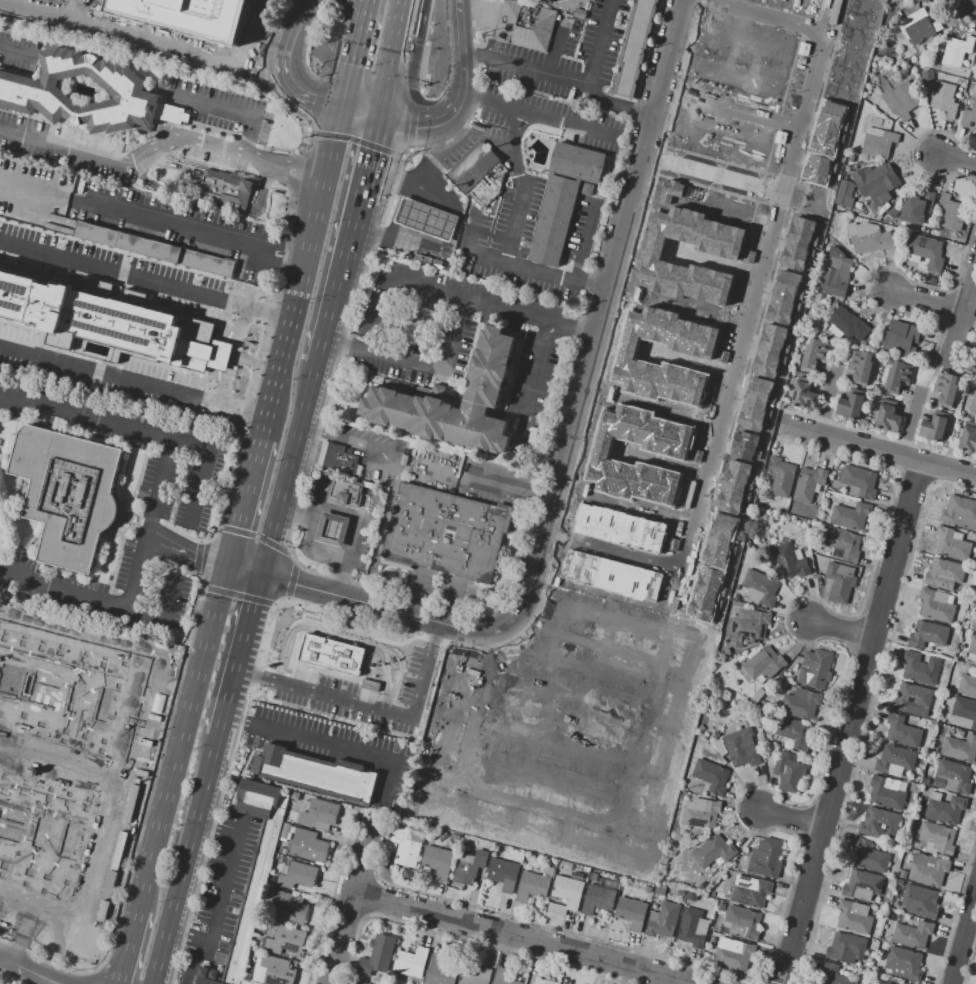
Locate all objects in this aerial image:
building: (923, 1)
building: (185, 15)
road: (410, 18)
road: (300, 20)
building: (856, 22)
building: (525, 27)
building: (920, 27)
road: (121, 35)
parking lot: (603, 39)
road: (415, 40)
road: (597, 43)
road: (462, 45)
building: (634, 48)
parking lot: (11, 49)
road: (391, 49)
road: (8, 51)
building: (958, 52)
road: (351, 55)
road: (554, 55)
road: (413, 56)
road: (821, 58)
building: (975, 61)
road: (422, 66)
building: (842, 74)
building: (927, 76)
road: (562, 80)
building: (30, 89)
road: (294, 89)
road: (276, 99)
building: (944, 99)
building: (901, 100)
road: (490, 102)
road: (211, 105)
road: (379, 109)
traffic signals: (340, 110)
building: (969, 113)
road: (358, 115)
road: (414, 119)
traffic signals: (377, 120)
road: (568, 123)
road: (428, 126)
building: (829, 127)
road: (213, 128)
road: (478, 133)
parking lot: (162, 137)
road: (246, 139)
road: (354, 142)
building: (878, 142)
road: (511, 148)
road: (222, 149)
traffic signals: (370, 151)
road: (368, 156)
road: (139, 157)
road: (425, 159)
road: (955, 160)
road: (299, 163)
road: (295, 168)
building: (818, 168)
road: (239, 172)
building: (479, 174)
road: (264, 183)
road: (295, 184)
building: (867, 185)
road: (281, 187)
road: (761, 188)
building: (225, 189)
building: (670, 189)
building: (561, 200)
road: (212, 202)
building: (917, 207)
road: (396, 208)
building: (883, 209)
building: (951, 212)
building: (893, 213)
building: (426, 218)
gas station: (426, 218)
road: (513, 225)
road: (196, 229)
road: (349, 235)
building: (868, 236)
building: (799, 241)
road: (578, 243)
building: (153, 248)
road: (471, 250)
building: (925, 253)
building: (738, 255)
building: (429, 259)
road: (304, 264)
building: (836, 273)
building: (198, 279)
road: (390, 279)
road: (554, 279)
road: (145, 283)
building: (785, 296)
road: (928, 301)
road: (963, 317)
road: (327, 321)
building: (112, 323)
building: (848, 324)
road: (456, 333)
building: (899, 338)
road: (340, 347)
building: (771, 348)
building: (814, 353)
building: (712, 355)
road: (259, 358)
road: (740, 367)
building: (861, 367)
building: (897, 376)
road: (132, 380)
road: (535, 383)
building: (946, 388)
building: (484, 391)
building: (803, 395)
road: (577, 401)
road: (828, 401)
building: (756, 403)
building: (973, 404)
building: (850, 406)
building: (888, 417)
road: (911, 422)
building: (933, 428)
road: (143, 429)
road: (296, 434)
building: (968, 438)
building: (744, 445)
road: (878, 450)
building: (686, 454)
building: (335, 458)
building: (780, 477)
road: (396, 478)
building: (859, 482)
road: (511, 484)
building: (809, 484)
road: (345, 485)
road: (708, 486)
building: (734, 486)
road: (317, 490)
building: (344, 490)
building: (66, 492)
road: (246, 493)
road: (363, 503)
building: (958, 509)
road: (295, 510)
road: (313, 510)
road: (336, 510)
building: (850, 516)
road: (149, 518)
road: (148, 522)
building: (619, 527)
building: (782, 529)
building: (332, 530)
gas station: (332, 530)
building: (757, 530)
building: (445, 533)
road: (254, 535)
road: (190, 536)
road: (351, 537)
building: (720, 540)
road: (269, 541)
building: (672, 544)
building: (843, 544)
building: (951, 544)
road: (308, 549)
road: (184, 553)
road: (197, 557)
road: (691, 560)
building: (790, 560)
traffic signals: (227, 569)
road: (306, 569)
road: (243, 573)
building: (944, 573)
building: (610, 575)
traffic signals: (260, 577)
road: (341, 577)
building: (835, 578)
road: (290, 580)
road: (298, 585)
building: (760, 588)
building: (705, 594)
road: (237, 595)
road: (101, 602)
building: (935, 605)
road: (247, 621)
building: (750, 624)
road: (841, 626)
building: (975, 627)
building: (927, 634)
road: (343, 636)
building: (972, 649)
building: (329, 654)
building: (763, 664)
building: (815, 668)
building: (919, 668)
road: (235, 670)
road: (256, 671)
road: (383, 675)
building: (967, 685)
building: (912, 699)
building: (801, 703)
road: (225, 705)
road: (388, 706)
road: (374, 709)
building: (964, 714)
building: (579, 721)
road: (237, 722)
road: (851, 722)
building: (793, 732)
building: (902, 732)
road: (182, 738)
road: (316, 742)
building: (0, 744)
building: (741, 748)
building: (960, 748)
building: (894, 760)
road: (149, 764)
road: (227, 767)
building: (788, 772)
building: (315, 773)
building: (711, 776)
building: (952, 777)
road: (383, 780)
building: (887, 792)
building: (945, 809)
building: (318, 813)
building: (701, 815)
road: (792, 817)
road: (616, 820)
building: (879, 824)
building: (285, 831)
building: (937, 838)
building: (309, 846)
building: (405, 847)
building: (713, 851)
building: (869, 856)
building: (766, 858)
road: (183, 860)
building: (437, 861)
building: (469, 867)
building: (928, 869)
building: (251, 874)
building: (503, 874)
building: (902, 874)
building: (296, 875)
building: (899, 882)
building: (533, 884)
building: (862, 885)
road: (220, 887)
building: (896, 887)
building: (749, 891)
building: (565, 894)
building: (598, 897)
road: (348, 900)
building: (920, 902)
building: (289, 907)
building: (721, 907)
building: (630, 911)
flagpole: (107, 912)
building: (854, 916)
building: (66, 919)
building: (663, 919)
building: (742, 922)
building: (692, 927)
building: (721, 929)
building: (913, 933)
road: (524, 938)
building: (283, 941)
road: (129, 942)
road: (965, 943)
building: (845, 947)
building: (733, 954)
building: (377, 955)
road: (193, 958)
building: (411, 962)
building: (903, 963)
road: (30, 970)
building: (275, 971)
building: (439, 971)
building: (833, 975)
road: (95, 977)
building: (476, 977)
building: (503, 977)
road: (128, 979)
road: (119, 980)
building: (381, 981)
building: (542, 981)
building: (888, 981)

